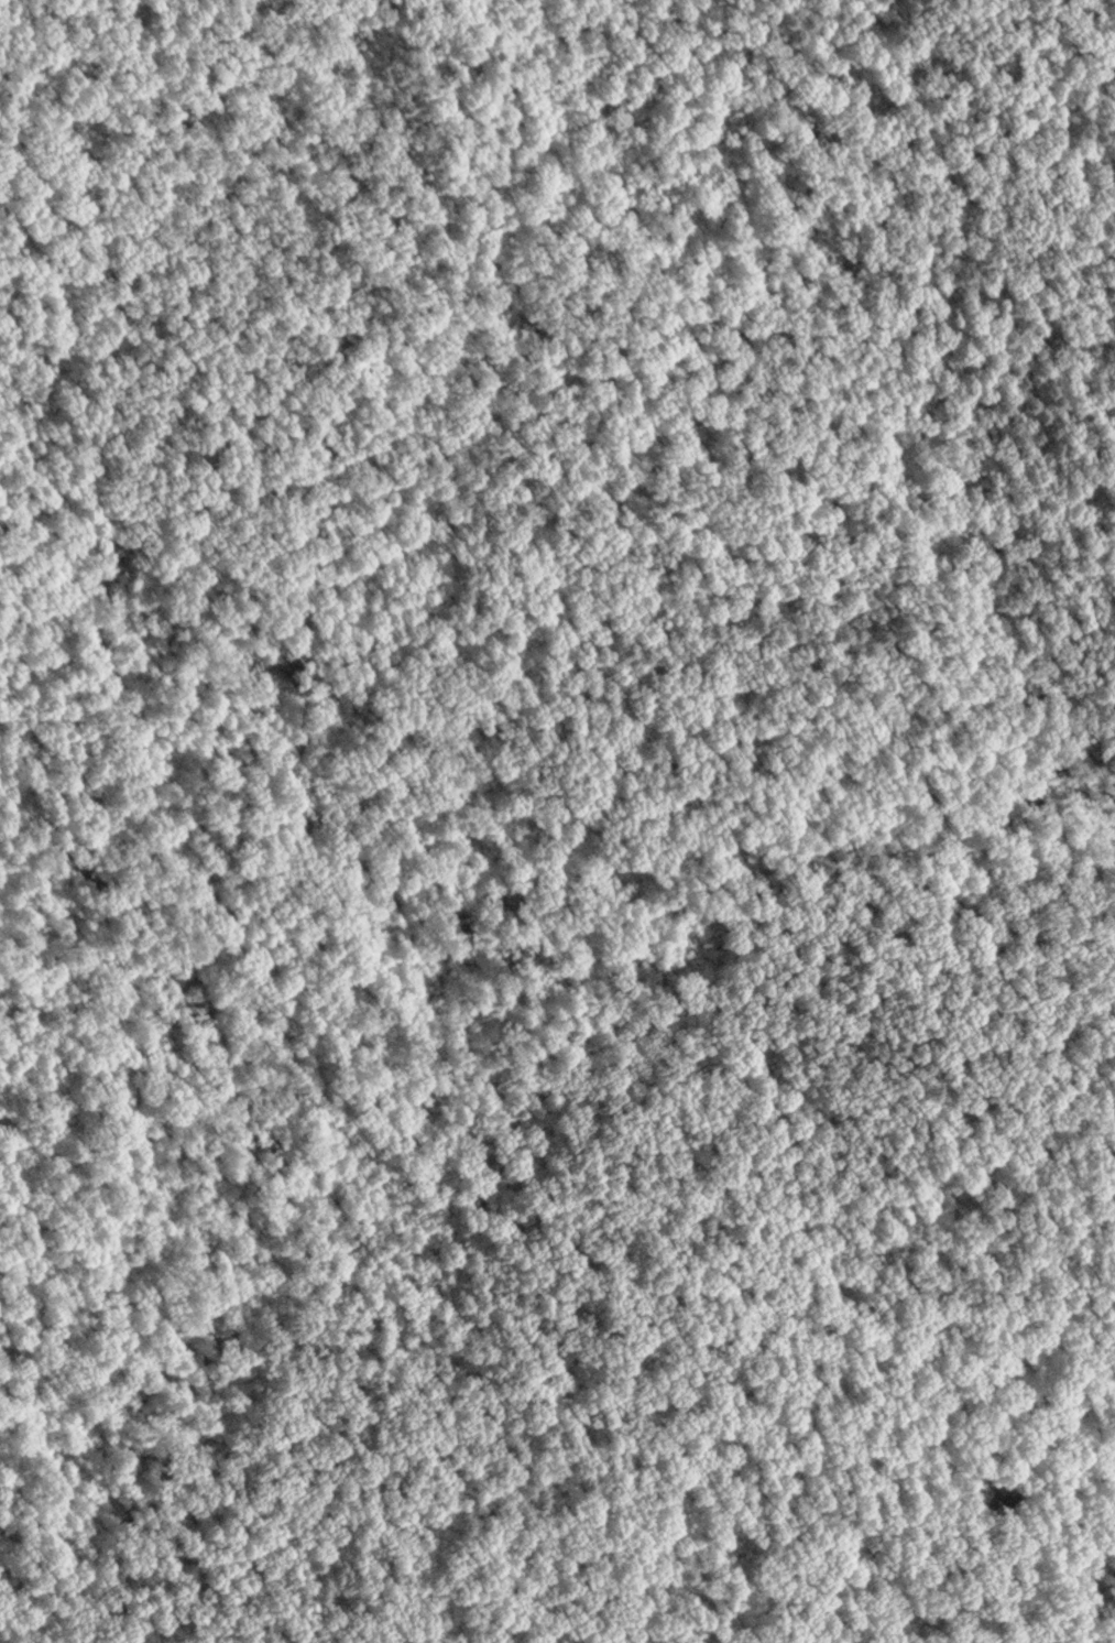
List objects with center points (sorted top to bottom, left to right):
road: (1007, 959)

